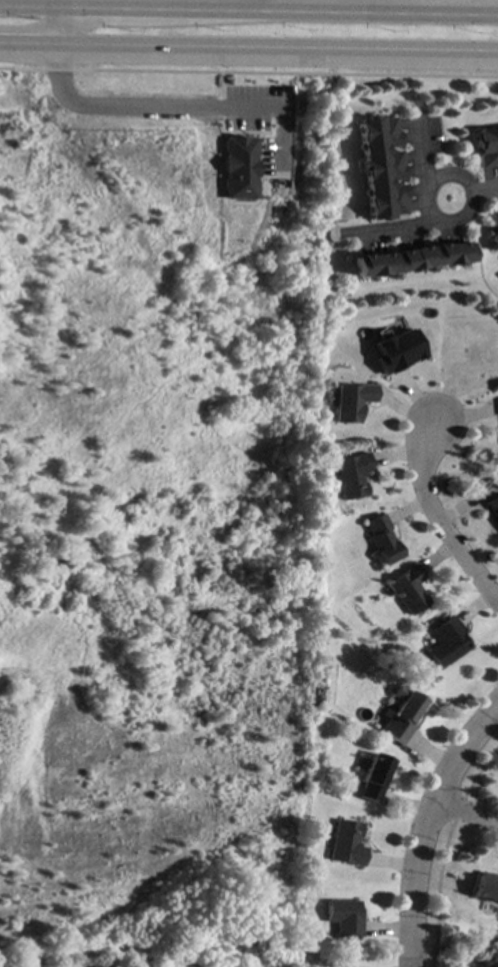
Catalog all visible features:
road: (277, 4)
road: (379, 4)
road: (138, 6)
road: (387, 9)
road: (59, 26)
road: (248, 55)
road: (169, 106)
building: (485, 148)
road: (417, 151)
building: (378, 167)
building: (233, 168)
road: (441, 174)
road: (483, 191)
road: (382, 227)
building: (494, 228)
building: (409, 259)
building: (395, 351)
building: (350, 401)
building: (352, 475)
building: (493, 505)
building: (343, 509)
road: (443, 518)
building: (384, 538)
building: (409, 589)
building: (447, 642)
building: (324, 662)
building: (423, 679)
building: (400, 713)
building: (372, 778)
road: (470, 817)
road: (430, 837)
building: (346, 844)
building: (485, 889)
building: (343, 917)
building: (496, 964)

